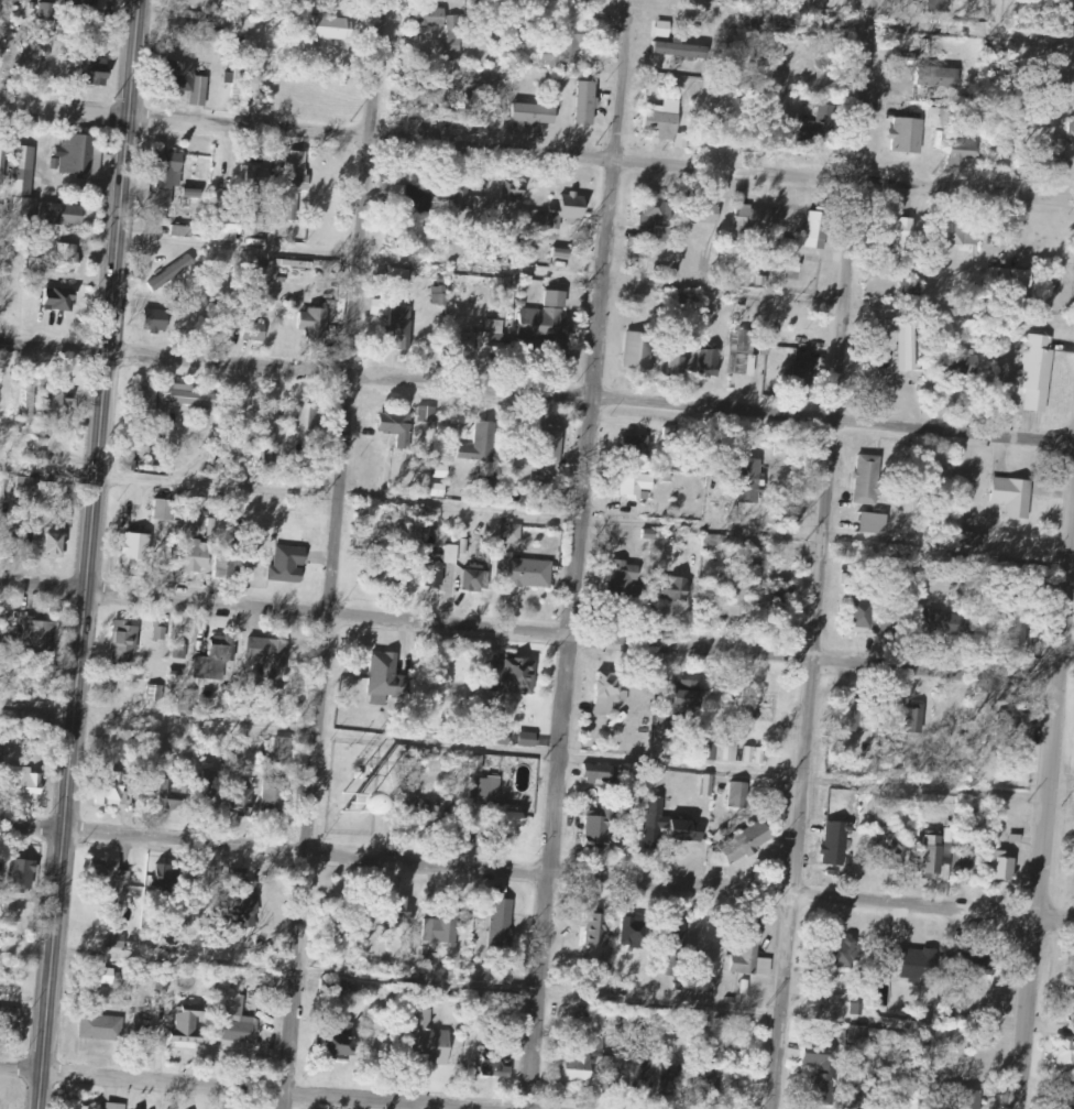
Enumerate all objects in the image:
building: (83, 3)
building: (193, 3)
building: (939, 7)
building: (48, 12)
building: (183, 22)
building: (333, 29)
building: (454, 43)
building: (680, 51)
road: (132, 57)
building: (97, 70)
building: (938, 77)
building: (239, 78)
building: (188, 81)
building: (414, 99)
building: (588, 104)
building: (536, 115)
building: (939, 119)
building: (667, 122)
building: (819, 127)
building: (1071, 130)
building: (908, 137)
building: (2, 152)
building: (964, 153)
building: (79, 155)
road: (536, 162)
building: (23, 171)
building: (169, 177)
building: (257, 181)
building: (294, 185)
building: (513, 192)
building: (409, 197)
building: (467, 199)
building: (568, 210)
building: (36, 211)
building: (708, 214)
building: (80, 217)
building: (659, 218)
building: (750, 220)
building: (255, 225)
building: (228, 228)
building: (818, 230)
building: (184, 231)
building: (956, 233)
building: (897, 235)
building: (787, 246)
building: (561, 254)
building: (69, 259)
building: (791, 271)
building: (172, 273)
building: (401, 278)
building: (1011, 280)
building: (440, 296)
building: (61, 300)
building: (156, 320)
building: (555, 322)
building: (314, 324)
building: (401, 328)
building: (254, 331)
building: (493, 346)
building: (908, 348)
building: (640, 351)
building: (744, 355)
building: (709, 363)
building: (964, 363)
building: (804, 366)
building: (678, 367)
building: (1038, 371)
building: (187, 396)
road: (536, 396)
building: (149, 399)
building: (58, 400)
building: (30, 404)
building: (427, 414)
building: (309, 422)
building: (396, 428)
building: (482, 444)
building: (635, 447)
building: (552, 448)
building: (270, 455)
building: (310, 480)
building: (752, 481)
building: (868, 481)
building: (638, 486)
building: (28, 487)
building: (484, 489)
building: (438, 490)
building: (1013, 498)
building: (166, 511)
building: (875, 524)
building: (512, 534)
building: (971, 540)
building: (55, 545)
building: (135, 552)
road: (576, 553)
road: (340, 554)
road: (821, 554)
building: (195, 556)
building: (289, 565)
building: (226, 566)
building: (441, 566)
building: (387, 569)
building: (525, 573)
building: (624, 579)
building: (478, 580)
building: (677, 589)
building: (741, 592)
building: (782, 595)
building: (863, 610)
road: (83, 611)
building: (942, 622)
building: (160, 633)
road: (528, 633)
building: (41, 639)
building: (6, 641)
building: (124, 642)
building: (215, 659)
building: (268, 659)
road: (1066, 676)
building: (514, 677)
building: (386, 679)
building: (154, 693)
building: (610, 693)
building: (689, 700)
building: (188, 702)
building: (851, 717)
building: (914, 719)
building: (1023, 719)
building: (284, 750)
building: (717, 752)
building: (753, 754)
building: (591, 774)
building: (26, 783)
building: (705, 785)
building: (211, 789)
building: (113, 790)
building: (275, 795)
building: (736, 795)
building: (171, 796)
building: (242, 798)
building: (386, 805)
building: (653, 808)
building: (493, 811)
building: (434, 812)
road: (1045, 820)
building: (594, 830)
building: (680, 830)
building: (741, 844)
building: (833, 845)
building: (890, 848)
building: (930, 857)
building: (960, 865)
building: (1000, 868)
road: (537, 873)
building: (22, 874)
building: (111, 877)
building: (165, 879)
building: (244, 900)
building: (401, 911)
building: (502, 924)
building: (598, 928)
building: (442, 929)
building: (626, 932)
building: (673, 936)
building: (837, 954)
building: (747, 956)
building: (908, 961)
building: (972, 963)
building: (99, 972)
building: (340, 987)
building: (704, 991)
building: (1070, 991)
building: (493, 1001)
building: (855, 1010)
building: (9, 1019)
building: (189, 1022)
building: (240, 1025)
building: (100, 1028)
building: (858, 1035)
building: (876, 1036)
building: (429, 1041)
building: (343, 1042)
building: (1063, 1056)
building: (494, 1066)
building: (580, 1069)
building: (614, 1072)
building: (643, 1073)
building: (821, 1073)
building: (672, 1079)
building: (712, 1080)
road: (222, 1091)
building: (859, 1094)
building: (1066, 1098)
building: (967, 1099)
building: (913, 1105)
building: (108, 1106)

